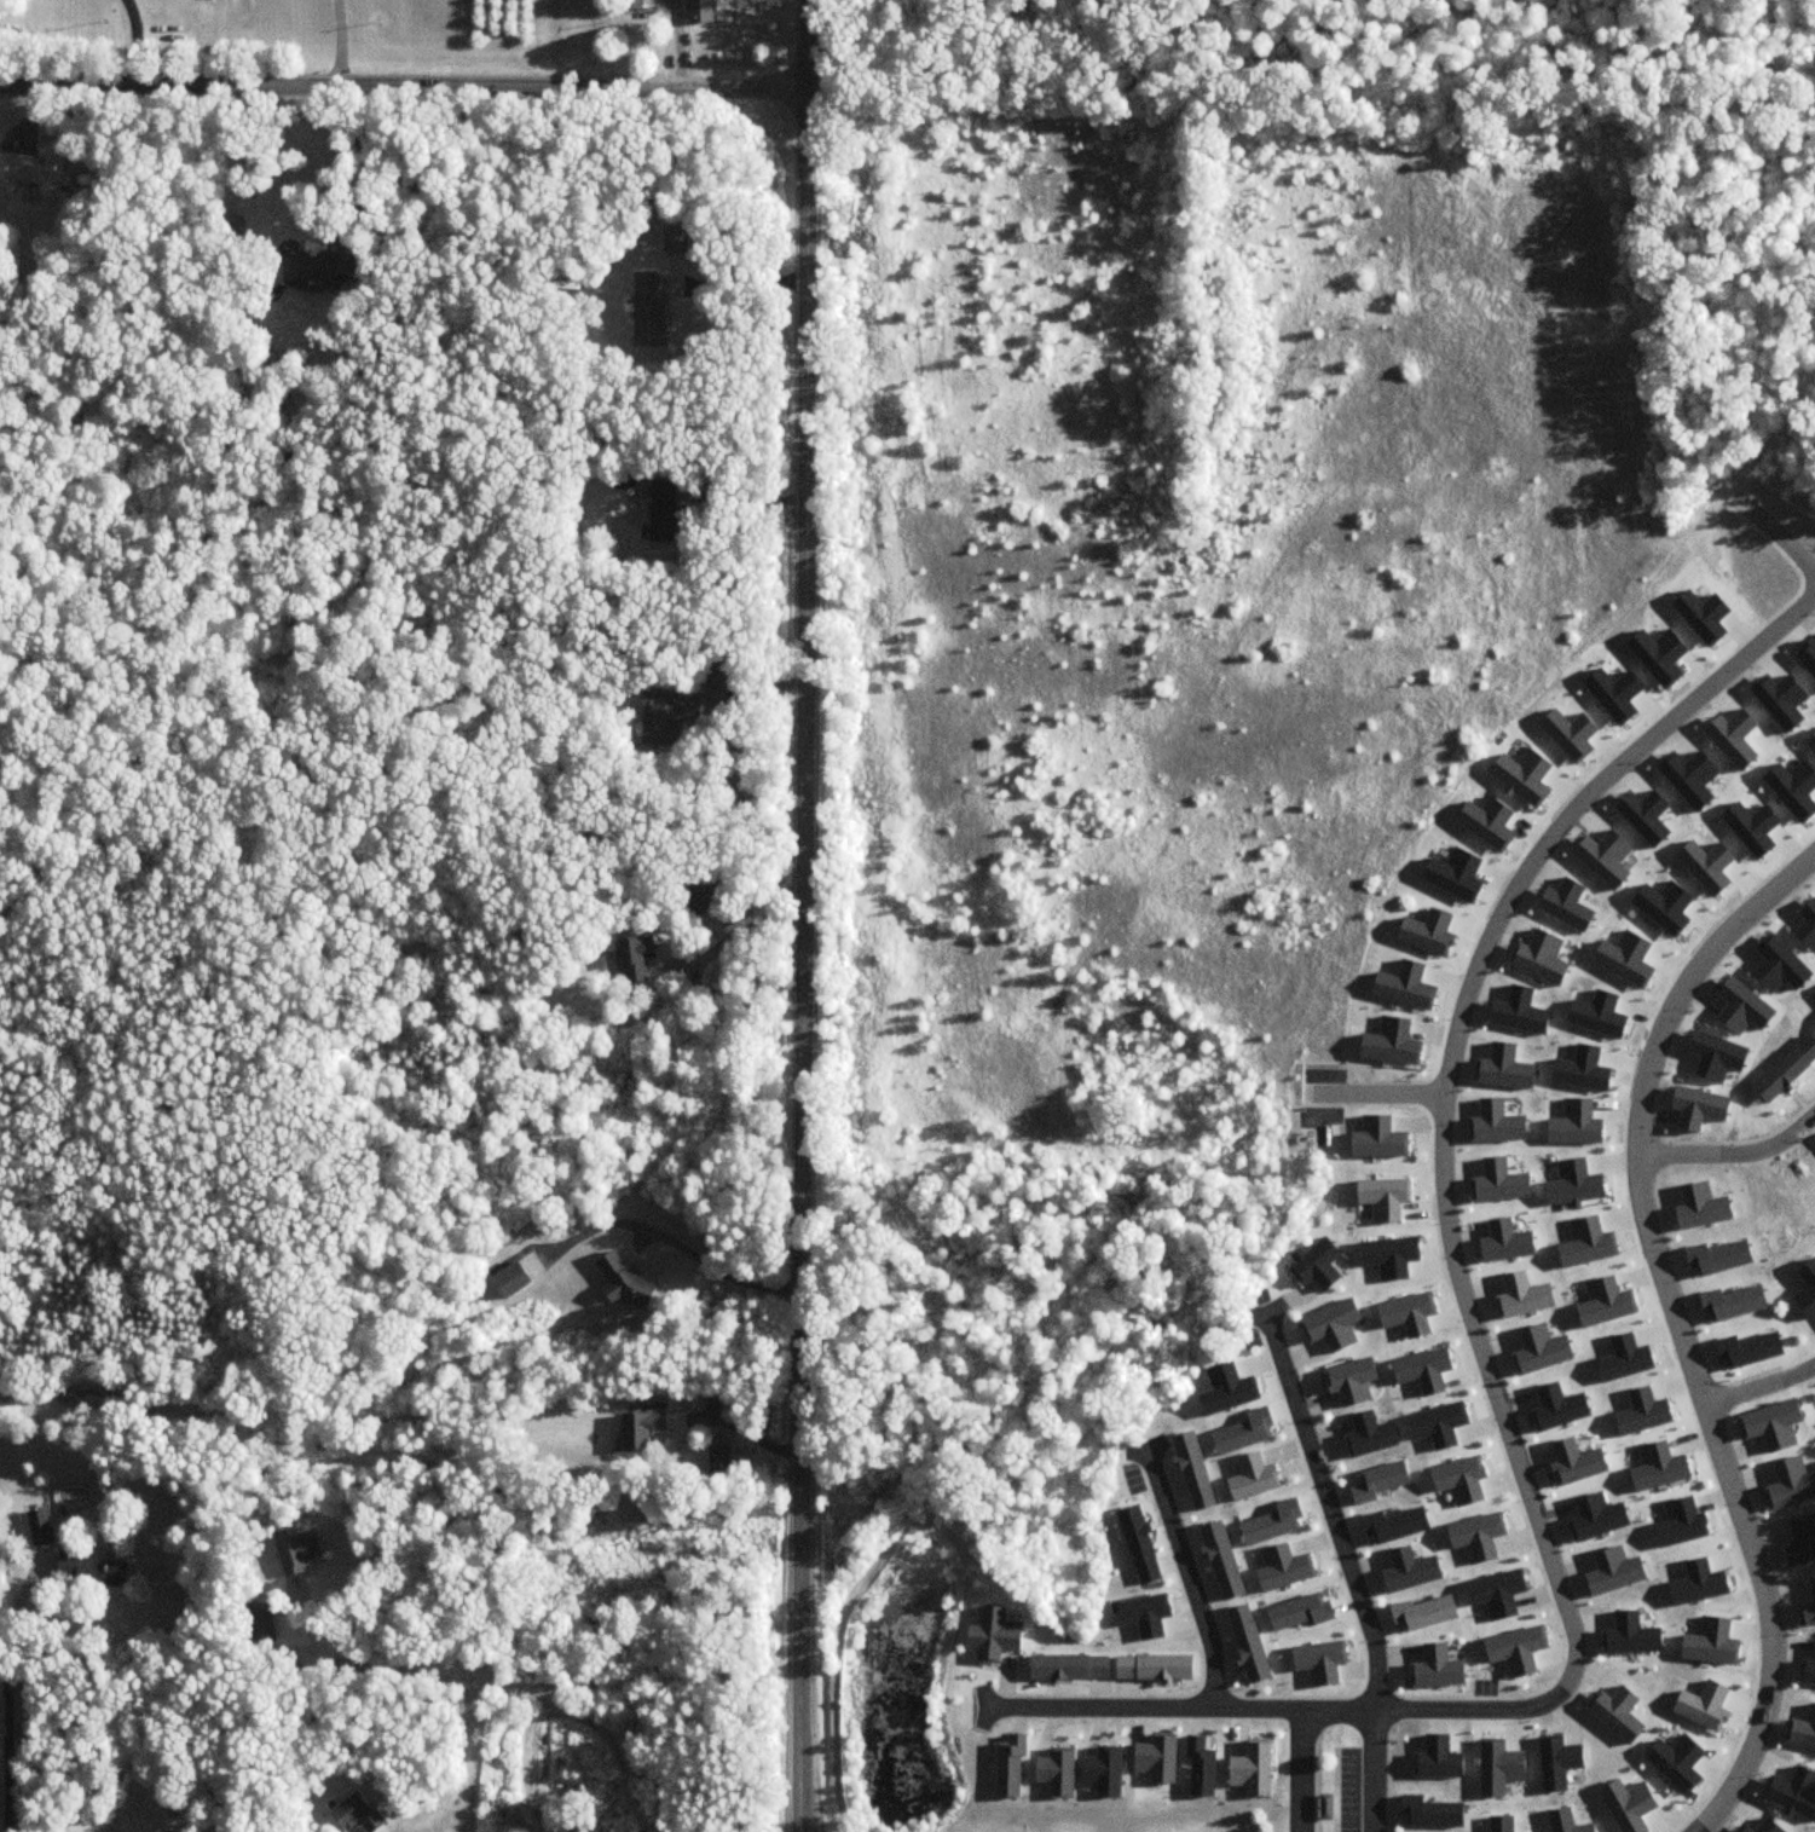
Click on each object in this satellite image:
building: (642, 4)
building: (699, 11)
road: (133, 42)
road: (340, 44)
road: (403, 87)
road: (362, 157)
building: (35, 171)
building: (674, 239)
building: (318, 268)
road: (735, 279)
building: (646, 310)
road: (741, 497)
building: (659, 514)
road: (1779, 543)
building: (717, 671)
building: (669, 718)
road: (717, 734)
building: (701, 902)
road: (803, 915)
road: (729, 936)
building: (632, 959)
road: (1378, 1090)
road: (1732, 1148)
road: (675, 1239)
building: (620, 1277)
building: (510, 1278)
road: (1676, 1325)
road: (1482, 1364)
road: (1758, 1379)
building: (640, 1426)
road: (736, 1426)
building: (717, 1458)
building: (40, 1525)
building: (296, 1551)
building: (89, 1568)
road: (1346, 1571)
road: (1190, 1582)
building: (258, 1620)
road: (541, 1684)
road: (6, 1710)
road: (1302, 1772)
building: (1324, 1807)
building: (354, 1813)

